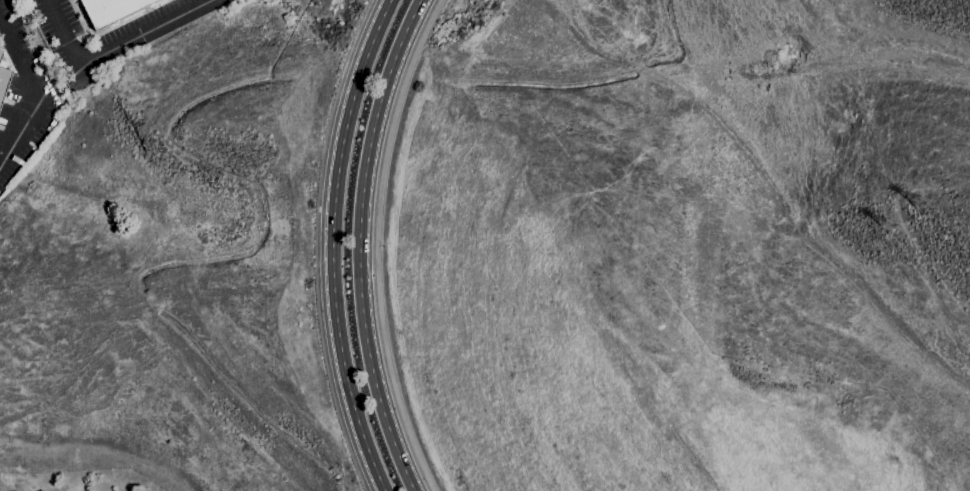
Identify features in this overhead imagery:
building: (110, 10)
parking lot: (105, 27)
road: (114, 47)
building: (0, 52)
building: (3, 80)
road: (33, 96)
power tower: (917, 204)
power tower: (887, 227)
road: (335, 244)
road: (359, 244)
road: (378, 244)

